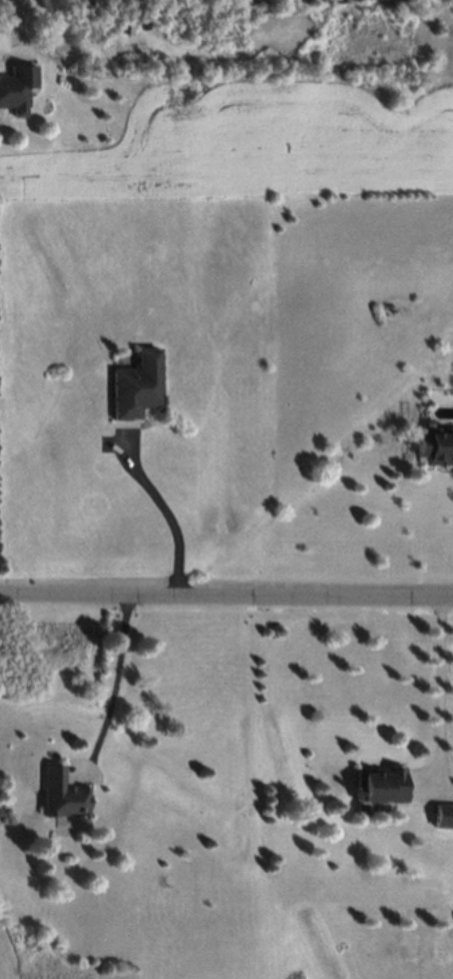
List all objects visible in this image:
road: (17, 24)
building: (13, 87)
building: (134, 383)
building: (435, 443)
road: (167, 513)
road: (226, 596)
road: (116, 683)
road: (443, 688)
building: (379, 785)
building: (60, 793)
building: (442, 815)

